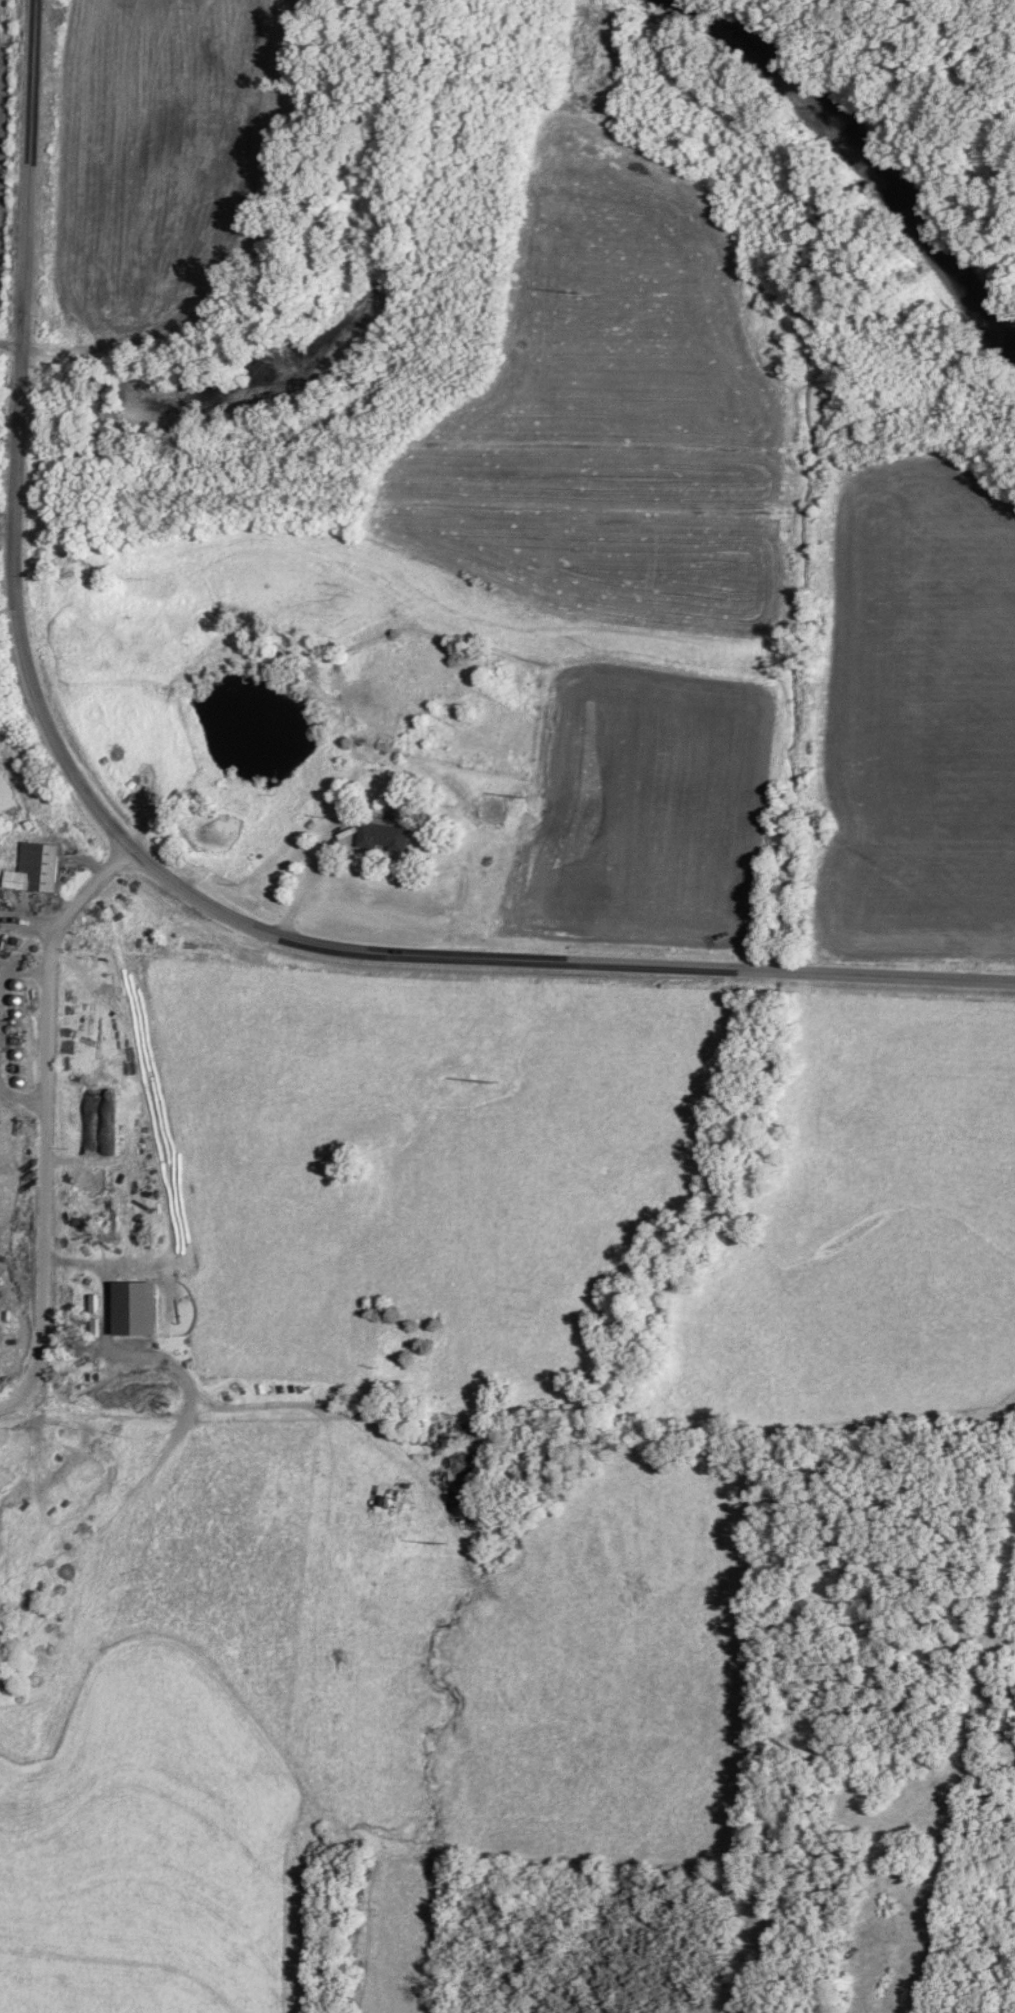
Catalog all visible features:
river: (868, 151)
power tower: (565, 283)
power tower: (513, 791)
building: (380, 836)
road: (144, 858)
building: (34, 868)
road: (312, 879)
road: (29, 923)
power tower: (484, 1076)
road: (23, 1102)
road: (47, 1121)
building: (97, 1121)
building: (129, 1307)
power tower: (431, 1535)
building: (1005, 1721)

